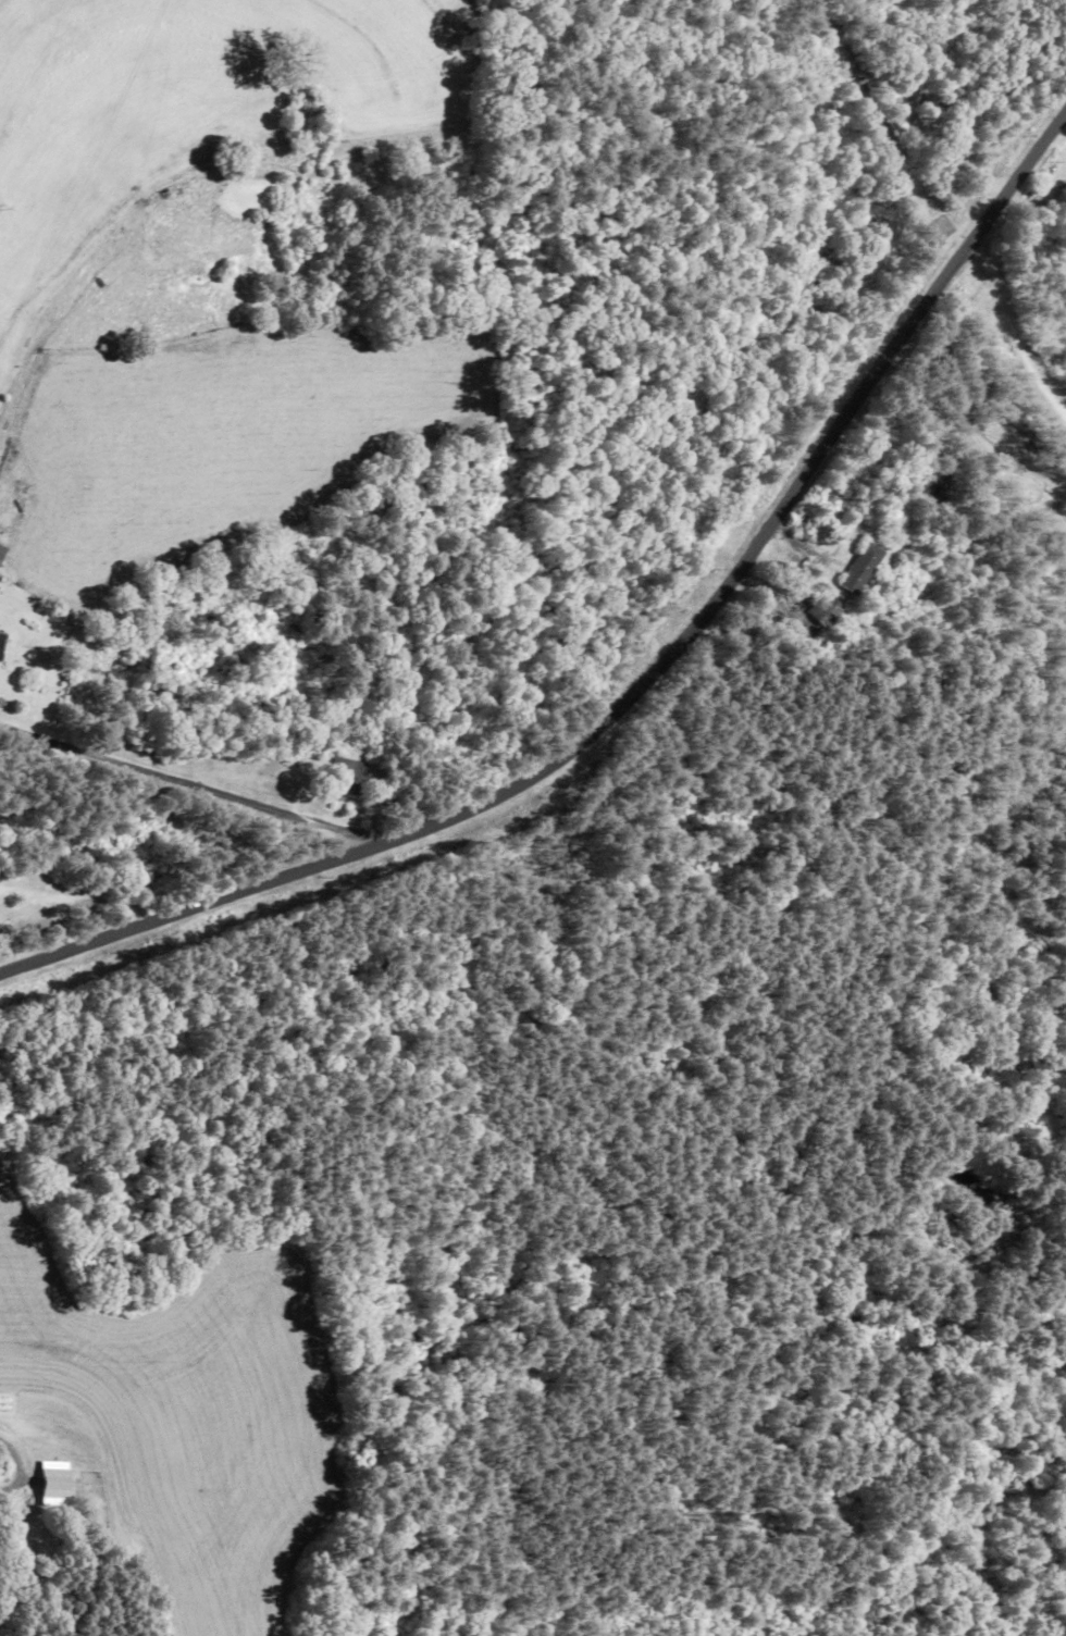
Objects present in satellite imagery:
building: (302, 123)
road: (1016, 326)
building: (937, 487)
building: (2, 553)
building: (863, 567)
building: (826, 610)
building: (746, 631)
building: (2, 645)
road: (644, 689)
building: (345, 773)
road: (187, 784)
road: (24, 1467)

